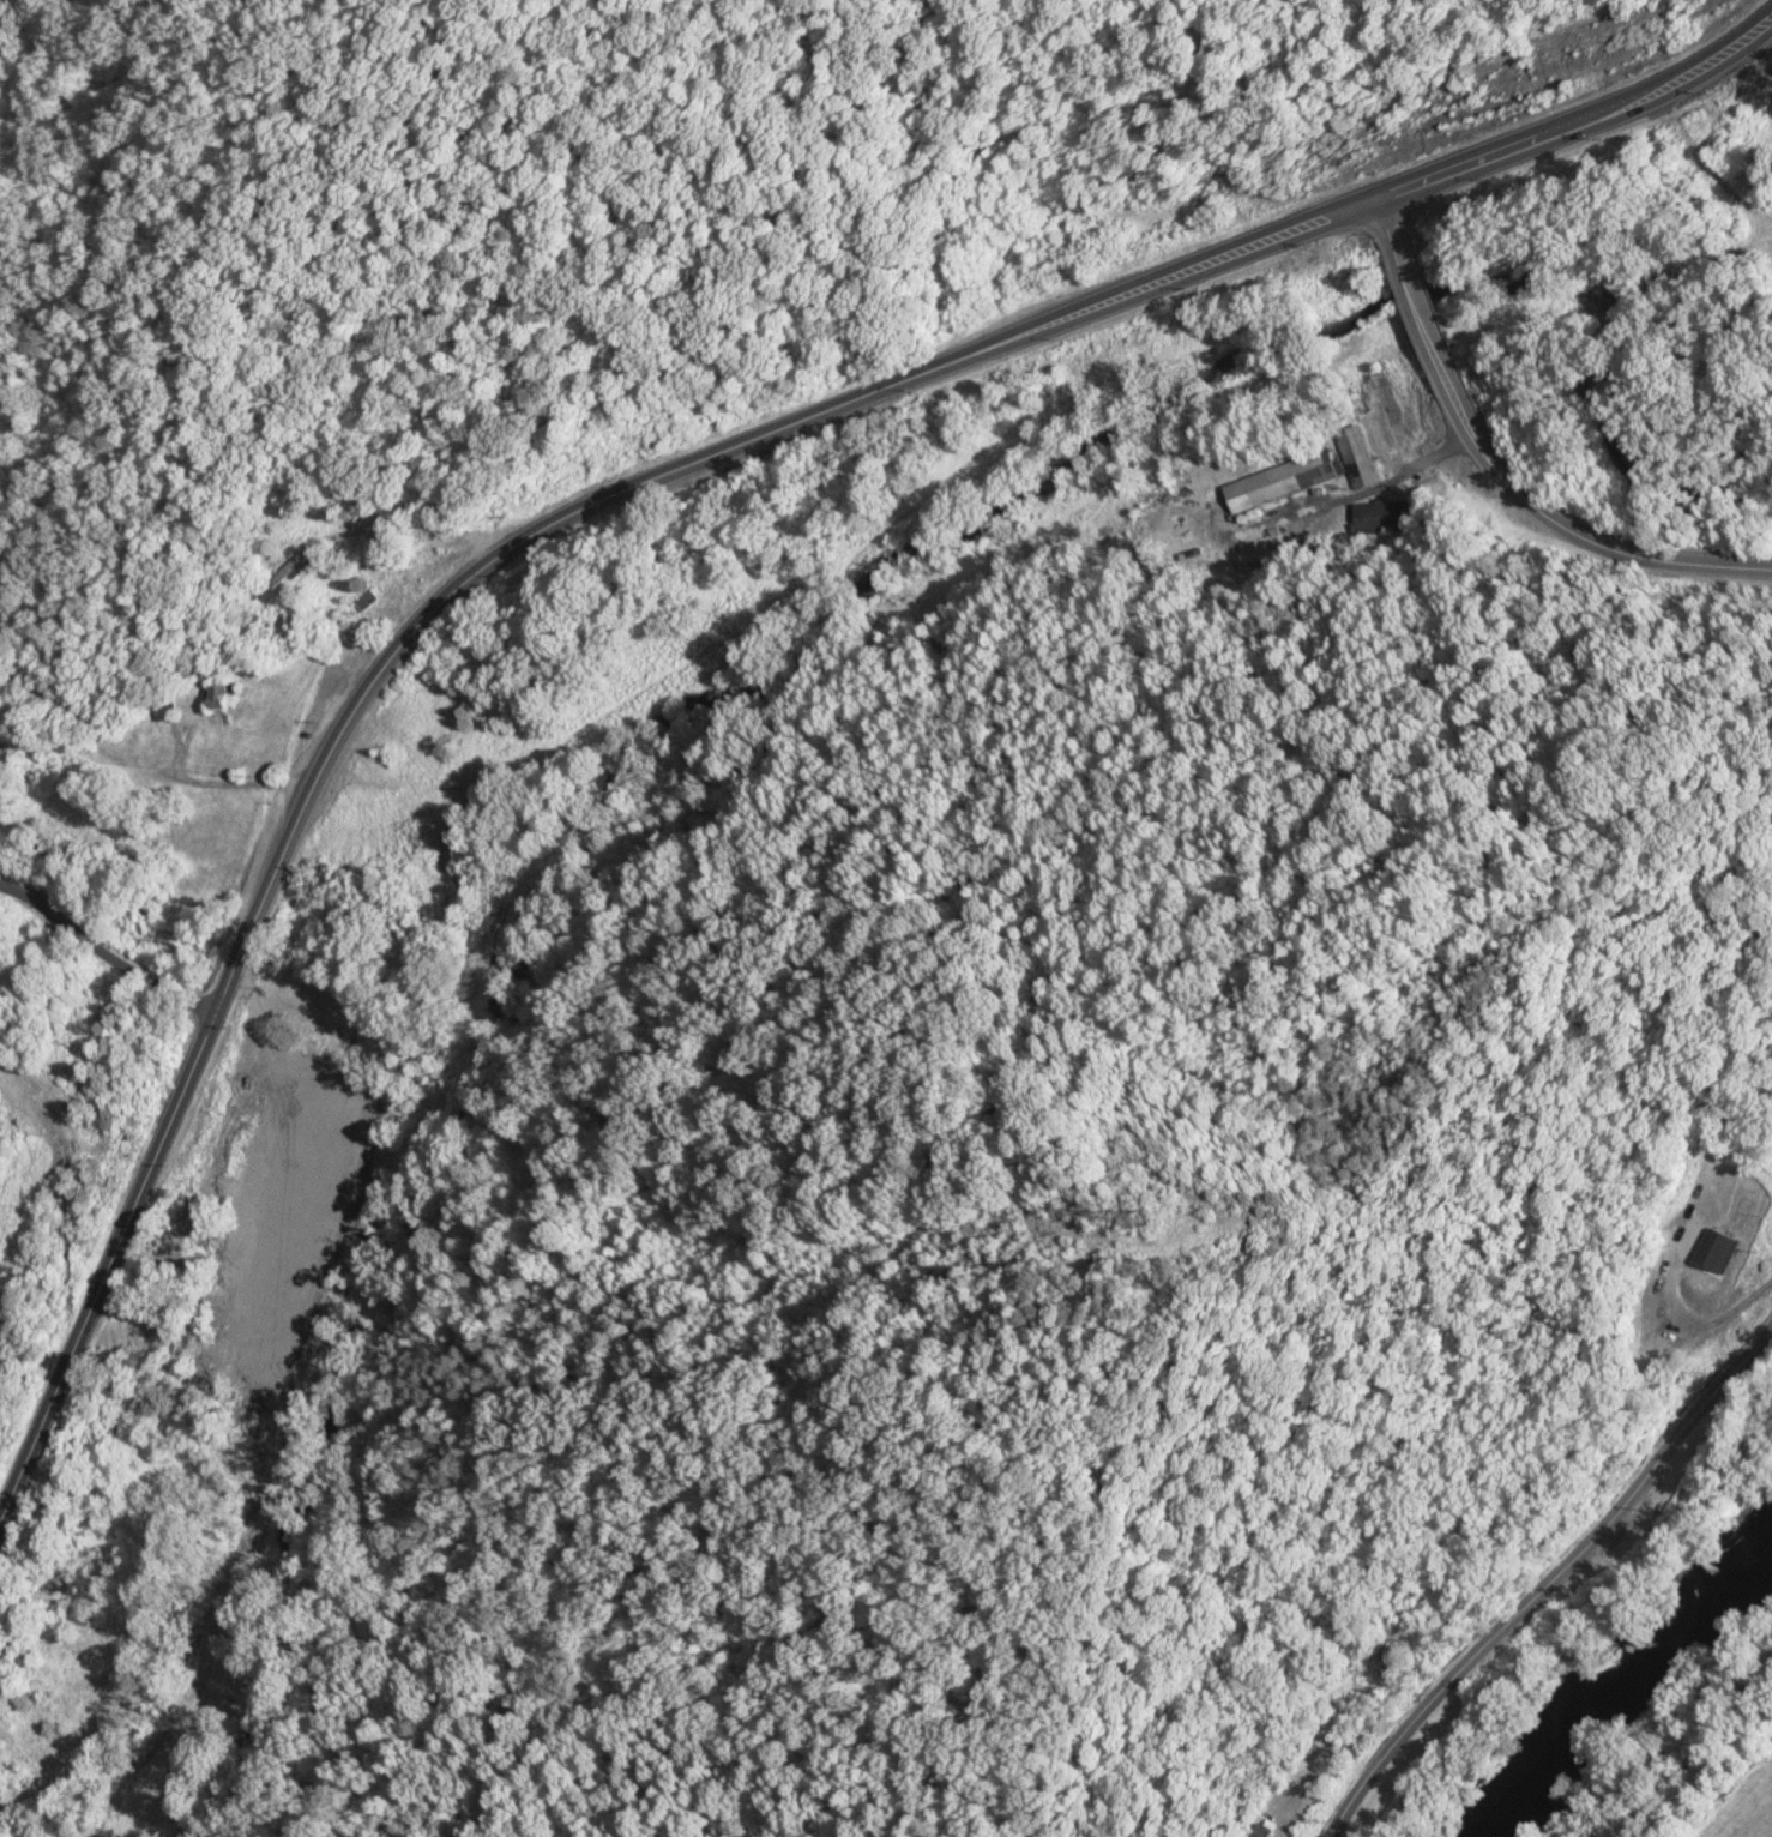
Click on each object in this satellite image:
road: (1384, 215)
road: (1421, 312)
building: (1356, 456)
building: (1280, 481)
road: (628, 483)
building: (1382, 517)
road: (1578, 535)
building: (293, 566)
building: (366, 600)
river: (725, 694)
building: (221, 695)
building: (164, 711)
road: (102, 953)
power tower: (1140, 1215)
building: (1140, 1228)
building: (1718, 1252)
park: (128, 1344)
power tower: (342, 1373)
road: (1548, 1582)
river: (1628, 1678)
road: (1690, 1746)
park: (1688, 1758)
building: (1260, 1830)

